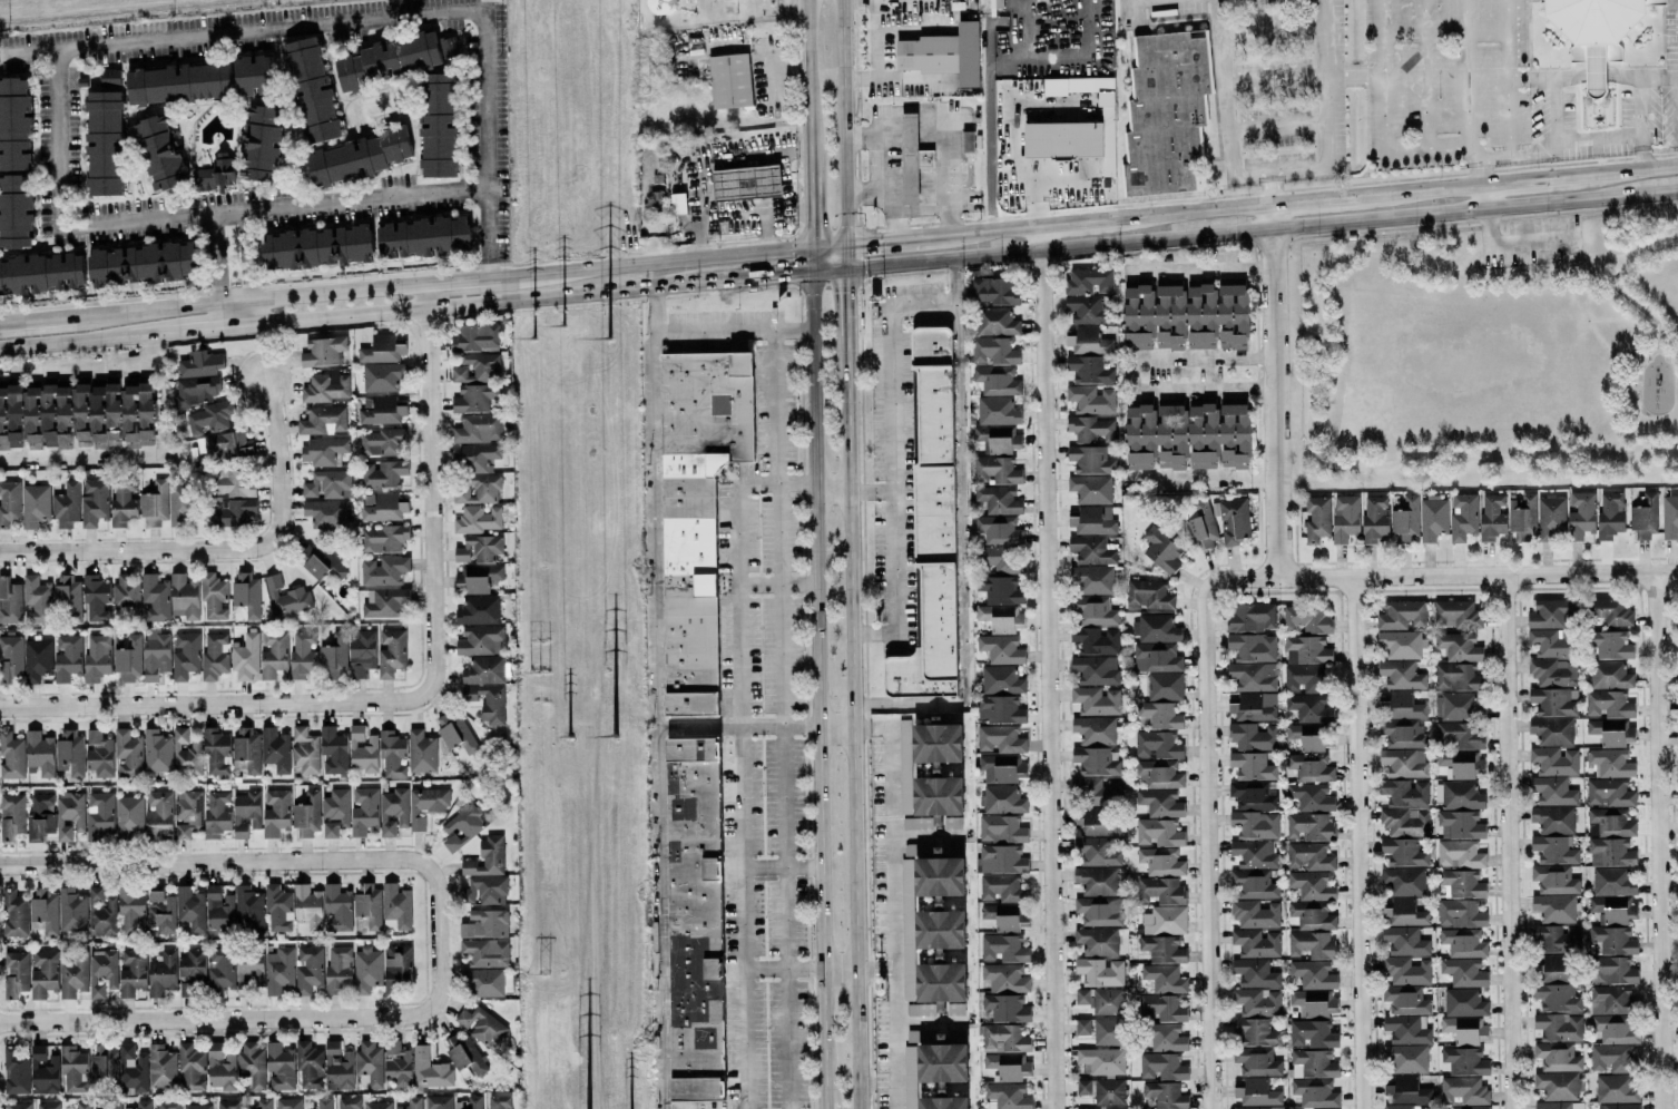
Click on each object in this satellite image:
road: (704, 1)
railway: (63, 6)
building: (663, 6)
road: (1130, 11)
road: (910, 30)
building: (1596, 32)
road: (1270, 33)
road: (101, 45)
road: (29, 52)
building: (943, 53)
road: (875, 55)
building: (387, 59)
road: (805, 66)
road: (1591, 72)
road: (1422, 73)
building: (255, 75)
road: (1273, 77)
road: (1503, 78)
road: (909, 79)
building: (109, 80)
building: (729, 80)
building: (178, 84)
road: (1325, 86)
road: (1221, 88)
building: (312, 89)
building: (1166, 111)
road: (1552, 111)
road: (1382, 116)
road: (843, 120)
road: (1676, 122)
building: (14, 124)
building: (439, 125)
road: (1638, 125)
building: (1074, 126)
road: (1276, 128)
road: (948, 140)
building: (968, 141)
building: (105, 144)
building: (261, 144)
building: (159, 153)
road: (807, 154)
road: (755, 156)
building: (359, 157)
road: (1476, 158)
road: (883, 164)
road: (1018, 167)
road: (1628, 170)
road: (1478, 171)
building: (215, 173)
road: (1276, 173)
road: (1531, 179)
building: (746, 181)
road: (1431, 187)
road: (1272, 188)
road: (1484, 196)
road: (1327, 198)
building: (678, 204)
road: (703, 209)
road: (1201, 209)
road: (932, 210)
building: (16, 212)
road: (891, 215)
road: (1082, 219)
road: (808, 223)
traffic signals: (809, 224)
road: (994, 228)
road: (1262, 228)
building: (423, 237)
road: (881, 239)
traffic signals: (867, 241)
parking lot: (1531, 244)
road: (1514, 245)
building: (317, 247)
road: (245, 257)
road: (678, 257)
road: (215, 262)
building: (146, 263)
road: (1198, 271)
building: (42, 273)
traffic signals: (791, 273)
road: (776, 274)
road: (487, 275)
building: (1089, 281)
traffic signals: (846, 291)
building: (993, 291)
road: (846, 296)
road: (249, 298)
road: (1626, 300)
road: (472, 302)
road: (237, 313)
building: (1185, 314)
building: (995, 322)
road: (37, 323)
power tower: (561, 328)
road: (732, 328)
road: (189, 330)
building: (477, 337)
power tower: (608, 337)
power tower: (532, 341)
building: (1089, 341)
road: (70, 342)
building: (382, 350)
road: (149, 351)
building: (323, 351)
building: (993, 351)
park: (1493, 356)
road: (1316, 361)
building: (200, 364)
building: (475, 367)
road: (79, 369)
building: (1089, 369)
road: (1128, 374)
building: (382, 376)
building: (997, 380)
building: (325, 387)
building: (195, 390)
road: (1274, 390)
building: (474, 398)
building: (1091, 399)
building: (380, 410)
building: (997, 411)
building: (75, 415)
building: (209, 418)
building: (323, 420)
building: (478, 429)
building: (1091, 429)
building: (1188, 433)
road: (893, 435)
building: (998, 439)
building: (382, 442)
building: (226, 445)
building: (324, 451)
road: (124, 455)
building: (478, 457)
building: (1090, 459)
building: (995, 470)
building: (382, 473)
road: (431, 475)
road: (1199, 480)
building: (230, 482)
building: (327, 484)
road: (832, 489)
building: (1090, 489)
building: (480, 490)
road: (871, 490)
building: (999, 500)
building: (9, 501)
building: (94, 501)
building: (122, 502)
building: (183, 502)
building: (155, 503)
building: (35, 504)
building: (67, 506)
building: (382, 507)
building: (697, 510)
building: (230, 511)
building: (327, 513)
building: (1580, 514)
building: (1610, 514)
building: (1645, 514)
building: (1670, 514)
building: (1492, 516)
building: (1522, 516)
building: (1463, 517)
building: (1550, 517)
building: (1317, 518)
building: (1345, 518)
building: (1374, 518)
building: (1433, 518)
building: (478, 519)
building: (1405, 519)
building: (1091, 520)
building: (1234, 521)
building: (932, 524)
building: (1201, 527)
building: (999, 529)
building: (383, 538)
road: (217, 548)
building: (479, 549)
building: (1091, 549)
building: (1161, 550)
road: (960, 557)
building: (998, 559)
building: (384, 570)
road: (1443, 575)
building: (479, 577)
building: (1092, 579)
road: (778, 586)
building: (1000, 589)
building: (246, 592)
building: (1148, 595)
building: (111, 596)
building: (67, 597)
building: (184, 597)
building: (214, 597)
building: (286, 597)
building: (155, 598)
building: (37, 600)
building: (10, 601)
building: (384, 602)
building: (479, 610)
building: (1093, 610)
building: (1610, 611)
building: (1455, 614)
building: (1550, 614)
building: (1401, 615)
building: (1000, 617)
building: (1250, 617)
building: (1307, 618)
building: (1156, 628)
building: (1096, 639)
building: (481, 640)
building: (1548, 642)
building: (1402, 644)
building: (1610, 645)
building: (1459, 646)
building: (1253, 647)
building: (1308, 648)
building: (1001, 649)
building: (361, 652)
building: (391, 652)
building: (155, 654)
building: (273, 654)
building: (185, 655)
building: (214, 655)
building: (302, 655)
building: (334, 655)
building: (67, 657)
building: (97, 657)
building: (245, 657)
building: (1156, 657)
building: (10, 658)
building: (128, 658)
building: (38, 660)
road: (1048, 666)
building: (1096, 669)
building: (484, 670)
building: (1552, 671)
power tower: (534, 673)
building: (1401, 675)
building: (1609, 675)
building: (1253, 676)
building: (1455, 676)
building: (1304, 678)
building: (1000, 680)
building: (1165, 686)
road: (818, 689)
road: (657, 697)
building: (1096, 700)
building: (1552, 701)
road: (225, 703)
building: (1608, 704)
building: (1254, 706)
building: (1401, 706)
building: (1456, 706)
building: (1308, 707)
building: (1000, 709)
building: (1158, 715)
road: (782, 718)
road: (837, 724)
road: (738, 726)
road: (855, 729)
building: (1095, 729)
building: (1551, 730)
building: (1610, 732)
building: (1402, 733)
building: (1460, 734)
building: (458, 736)
power tower: (612, 736)
building: (1253, 736)
building: (1306, 736)
power tower: (569, 737)
building: (999, 738)
building: (1156, 745)
building: (246, 749)
building: (275, 749)
building: (304, 749)
building: (333, 750)
building: (362, 750)
building: (156, 752)
building: (216, 752)
building: (421, 752)
building: (39, 753)
building: (186, 753)
building: (128, 754)
building: (392, 754)
building: (11, 756)
building: (70, 756)
building: (99, 756)
road: (742, 758)
building: (1097, 760)
building: (1554, 760)
building: (1403, 763)
building: (1461, 763)
building: (1610, 763)
building: (904, 766)
building: (1252, 766)
building: (1309, 766)
building: (1001, 768)
building: (1158, 774)
building: (1098, 791)
building: (1553, 791)
building: (1404, 792)
building: (1608, 793)
building: (1252, 795)
building: (1458, 795)
building: (1311, 796)
building: (938, 797)
building: (1002, 798)
building: (1160, 803)
building: (425, 805)
building: (363, 811)
building: (393, 811)
building: (246, 812)
building: (275, 812)
building: (334, 812)
building: (187, 813)
building: (217, 813)
building: (307, 813)
building: (11, 815)
building: (40, 815)
building: (99, 815)
building: (158, 815)
building: (69, 816)
building: (128, 816)
building: (1552, 818)
building: (1095, 822)
building: (1404, 822)
building: (1609, 822)
building: (916, 823)
building: (1255, 824)
building: (1460, 824)
building: (463, 825)
building: (1309, 826)
building: (1001, 828)
building: (1159, 832)
road: (928, 835)
road: (1661, 841)
road: (1357, 842)
road: (1507, 842)
road: (1207, 843)
building: (917, 848)
building: (1554, 850)
building: (1095, 851)
building: (1403, 852)
building: (1610, 852)
building: (1253, 853)
building: (1460, 853)
building: (1309, 856)
building: (487, 857)
building: (1000, 858)
road: (261, 860)
building: (1161, 861)
road: (782, 866)
building: (1554, 880)
building: (1097, 881)
building: (1404, 881)
building: (1611, 882)
building: (1461, 884)
building: (1311, 885)
building: (1000, 887)
building: (487, 890)
building: (1161, 890)
building: (939, 903)
building: (369, 905)
building: (248, 906)
building: (308, 906)
building: (337, 907)
building: (395, 907)
building: (1554, 907)
building: (218, 909)
building: (278, 909)
building: (1612, 909)
building: (72, 910)
building: (189, 910)
building: (45, 911)
building: (131, 911)
building: (1099, 911)
building: (101, 912)
building: (1460, 913)
road: (894, 914)
building: (1255, 914)
building: (14, 915)
building: (1312, 915)
building: (1010, 917)
building: (694, 919)
building: (1165, 920)
building: (484, 923)
building: (906, 929)
building: (1557, 938)
building: (1097, 941)
building: (1404, 941)
building: (1611, 941)
building: (1256, 942)
building: (1463, 942)
building: (1312, 944)
building: (1002, 949)
building: (1162, 949)
building: (485, 952)
building: (192, 964)
building: (220, 968)
building: (308, 969)
building: (367, 969)
road: (784, 969)
road: (840, 969)
road: (876, 969)
building: (1553, 969)
building: (279, 970)
building: (338, 970)
building: (1405, 970)
building: (1611, 970)
power tower: (541, 971)
building: (131, 972)
building: (1255, 972)
building: (1463, 972)
building: (16, 973)
building: (43, 973)
building: (102, 973)
building: (161, 973)
building: (249, 974)
building: (1313, 974)
building: (73, 975)
building: (1005, 978)
building: (1162, 979)
building: (487, 982)
building: (938, 988)
building: (187, 989)
building: (1557, 997)
building: (1405, 999)
building: (1610, 999)
building: (1101, 1000)
building: (1257, 1001)
building: (1313, 1002)
building: (1463, 1002)
building: (1005, 1008)
building: (1160, 1008)
road: (245, 1017)
road: (930, 1021)
building: (481, 1024)
building: (1083, 1027)
building: (1558, 1027)
building: (1615, 1028)
building: (1464, 1029)
building: (1405, 1030)
building: (1108, 1031)
building: (1256, 1031)
building: (1312, 1033)
building: (921, 1036)
building: (1004, 1038)
building: (1167, 1038)
building: (1557, 1057)
building: (1406, 1058)
building: (1611, 1058)
building: (1102, 1060)
building: (1464, 1060)
building: (104, 1061)
building: (467, 1061)
building: (1256, 1061)
building: (942, 1062)
building: (1314, 1062)
building: (252, 1063)
building: (369, 1063)
building: (308, 1064)
building: (396, 1064)
building: (161, 1066)
building: (1007, 1066)
building: (1161, 1066)
building: (279, 1067)
building: (337, 1067)
building: (190, 1068)
building: (220, 1068)
building: (133, 1069)
building: (429, 1069)
building: (16, 1070)
building: (73, 1070)
building: (43, 1071)
building: (910, 1077)
building: (1557, 1085)
building: (1616, 1088)
building: (1102, 1090)
building: (1407, 1090)
building: (1463, 1090)
building: (1256, 1092)
building: (1315, 1092)
building: (1166, 1095)
building: (1007, 1097)
building: (438, 1102)
building: (469, 1102)
building: (500, 1102)
building: (943, 1102)
building: (110, 1103)
building: (263, 1103)
building: (287, 1103)
building: (323, 1103)
building: (347, 1103)
building: (411, 1103)
building: (82, 1105)
building: (141, 1105)
building: (167, 1105)
building: (227, 1105)
building: (377, 1105)
building: (1558, 1105)
building: (18, 1106)
building: (48, 1106)
building: (197, 1106)
building: (1618, 1106)
building: (1259, 1107)
building: (1406, 1107)
building: (1470, 1107)
building: (246, 1108)
building: (1119, 1108)
building: (1333, 1108)

